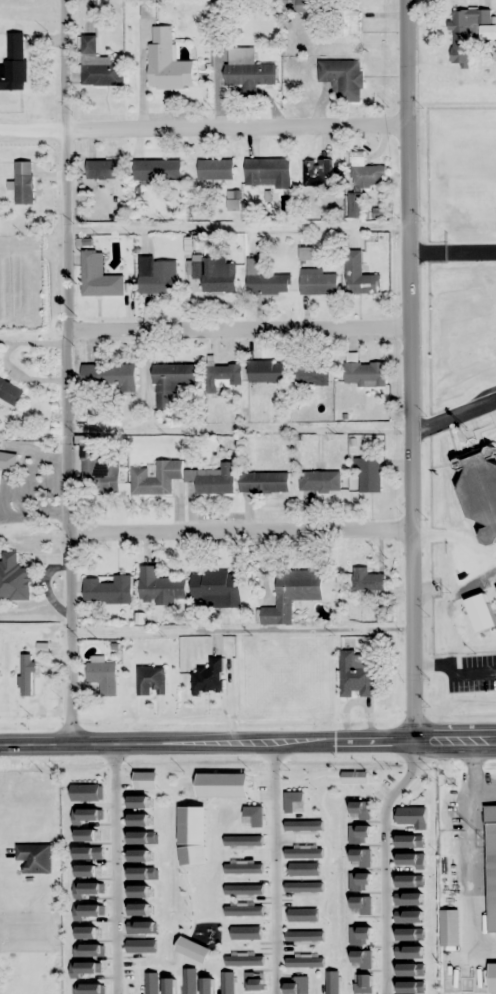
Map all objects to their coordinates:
building: (305, 5)
building: (346, 26)
building: (465, 33)
building: (166, 62)
building: (14, 63)
building: (98, 65)
building: (247, 70)
building: (343, 77)
road: (240, 129)
building: (100, 169)
building: (157, 169)
building: (215, 169)
building: (366, 172)
building: (267, 173)
building: (318, 173)
building: (24, 189)
building: (354, 205)
road: (239, 231)
road: (453, 250)
building: (214, 273)
building: (157, 275)
building: (359, 275)
building: (99, 278)
building: (265, 279)
building: (317, 282)
road: (241, 333)
building: (266, 370)
road: (412, 371)
road: (69, 372)
building: (311, 373)
building: (365, 373)
building: (222, 376)
building: (108, 377)
building: (171, 382)
building: (10, 391)
road: (454, 413)
road: (241, 432)
building: (8, 461)
building: (98, 472)
building: (370, 475)
building: (182, 478)
building: (319, 481)
building: (263, 482)
building: (481, 489)
road: (243, 535)
building: (14, 578)
building: (367, 579)
building: (215, 584)
building: (160, 586)
building: (107, 589)
building: (292, 594)
road: (242, 629)
building: (26, 674)
building: (356, 674)
building: (103, 677)
building: (208, 677)
building: (151, 680)
road: (247, 743)
building: (395, 828)
building: (35, 857)
building: (491, 868)
building: (449, 928)

